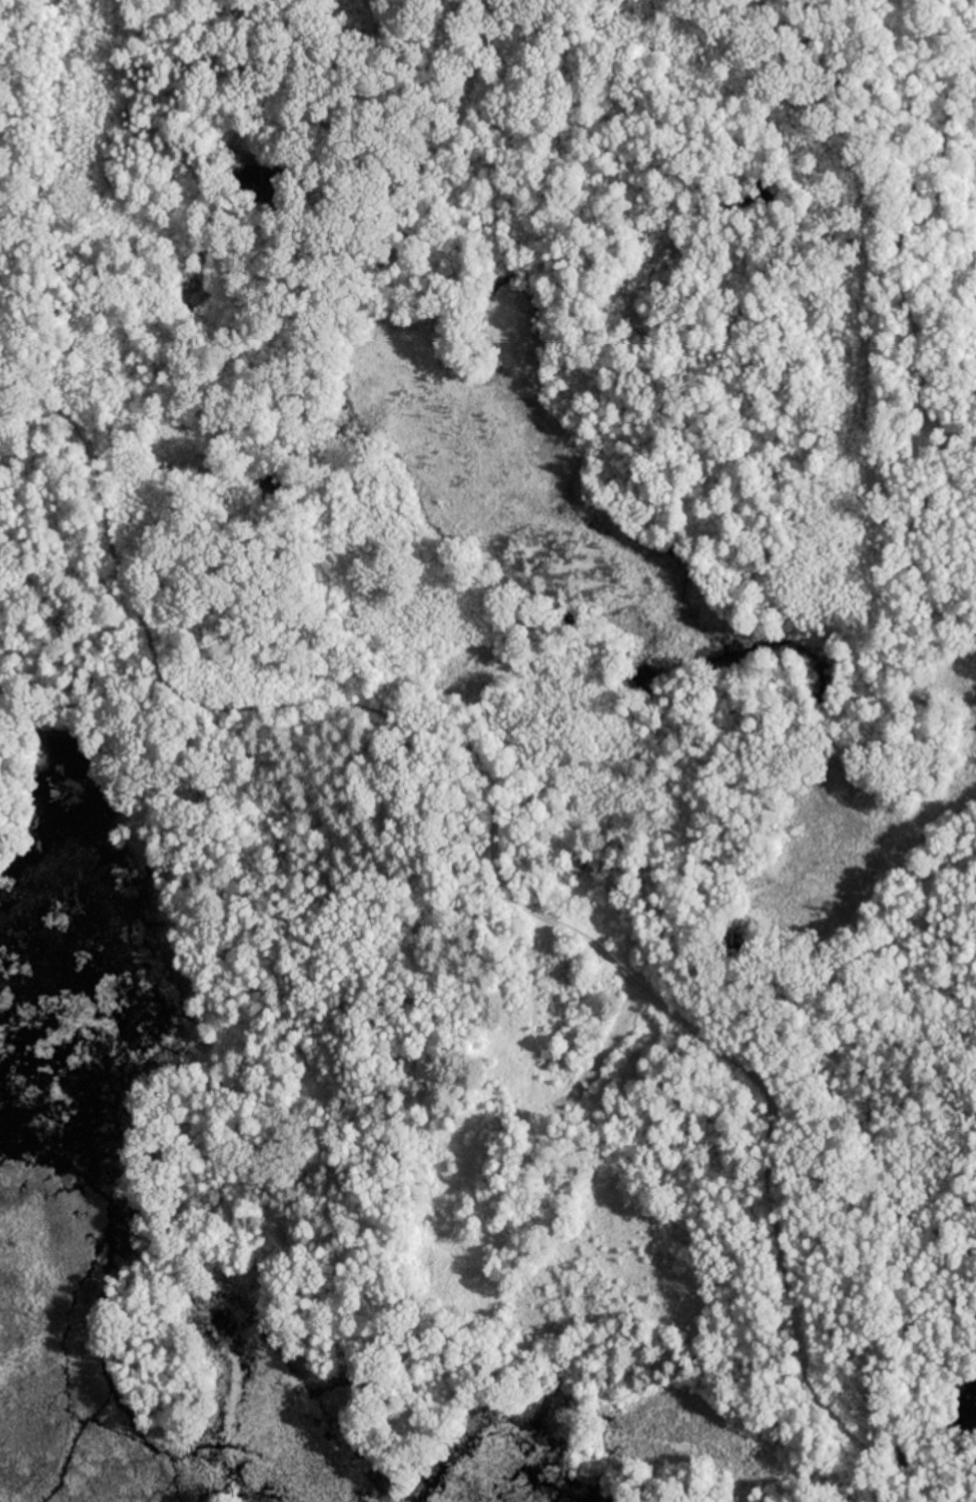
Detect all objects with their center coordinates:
road: (399, 1243)

